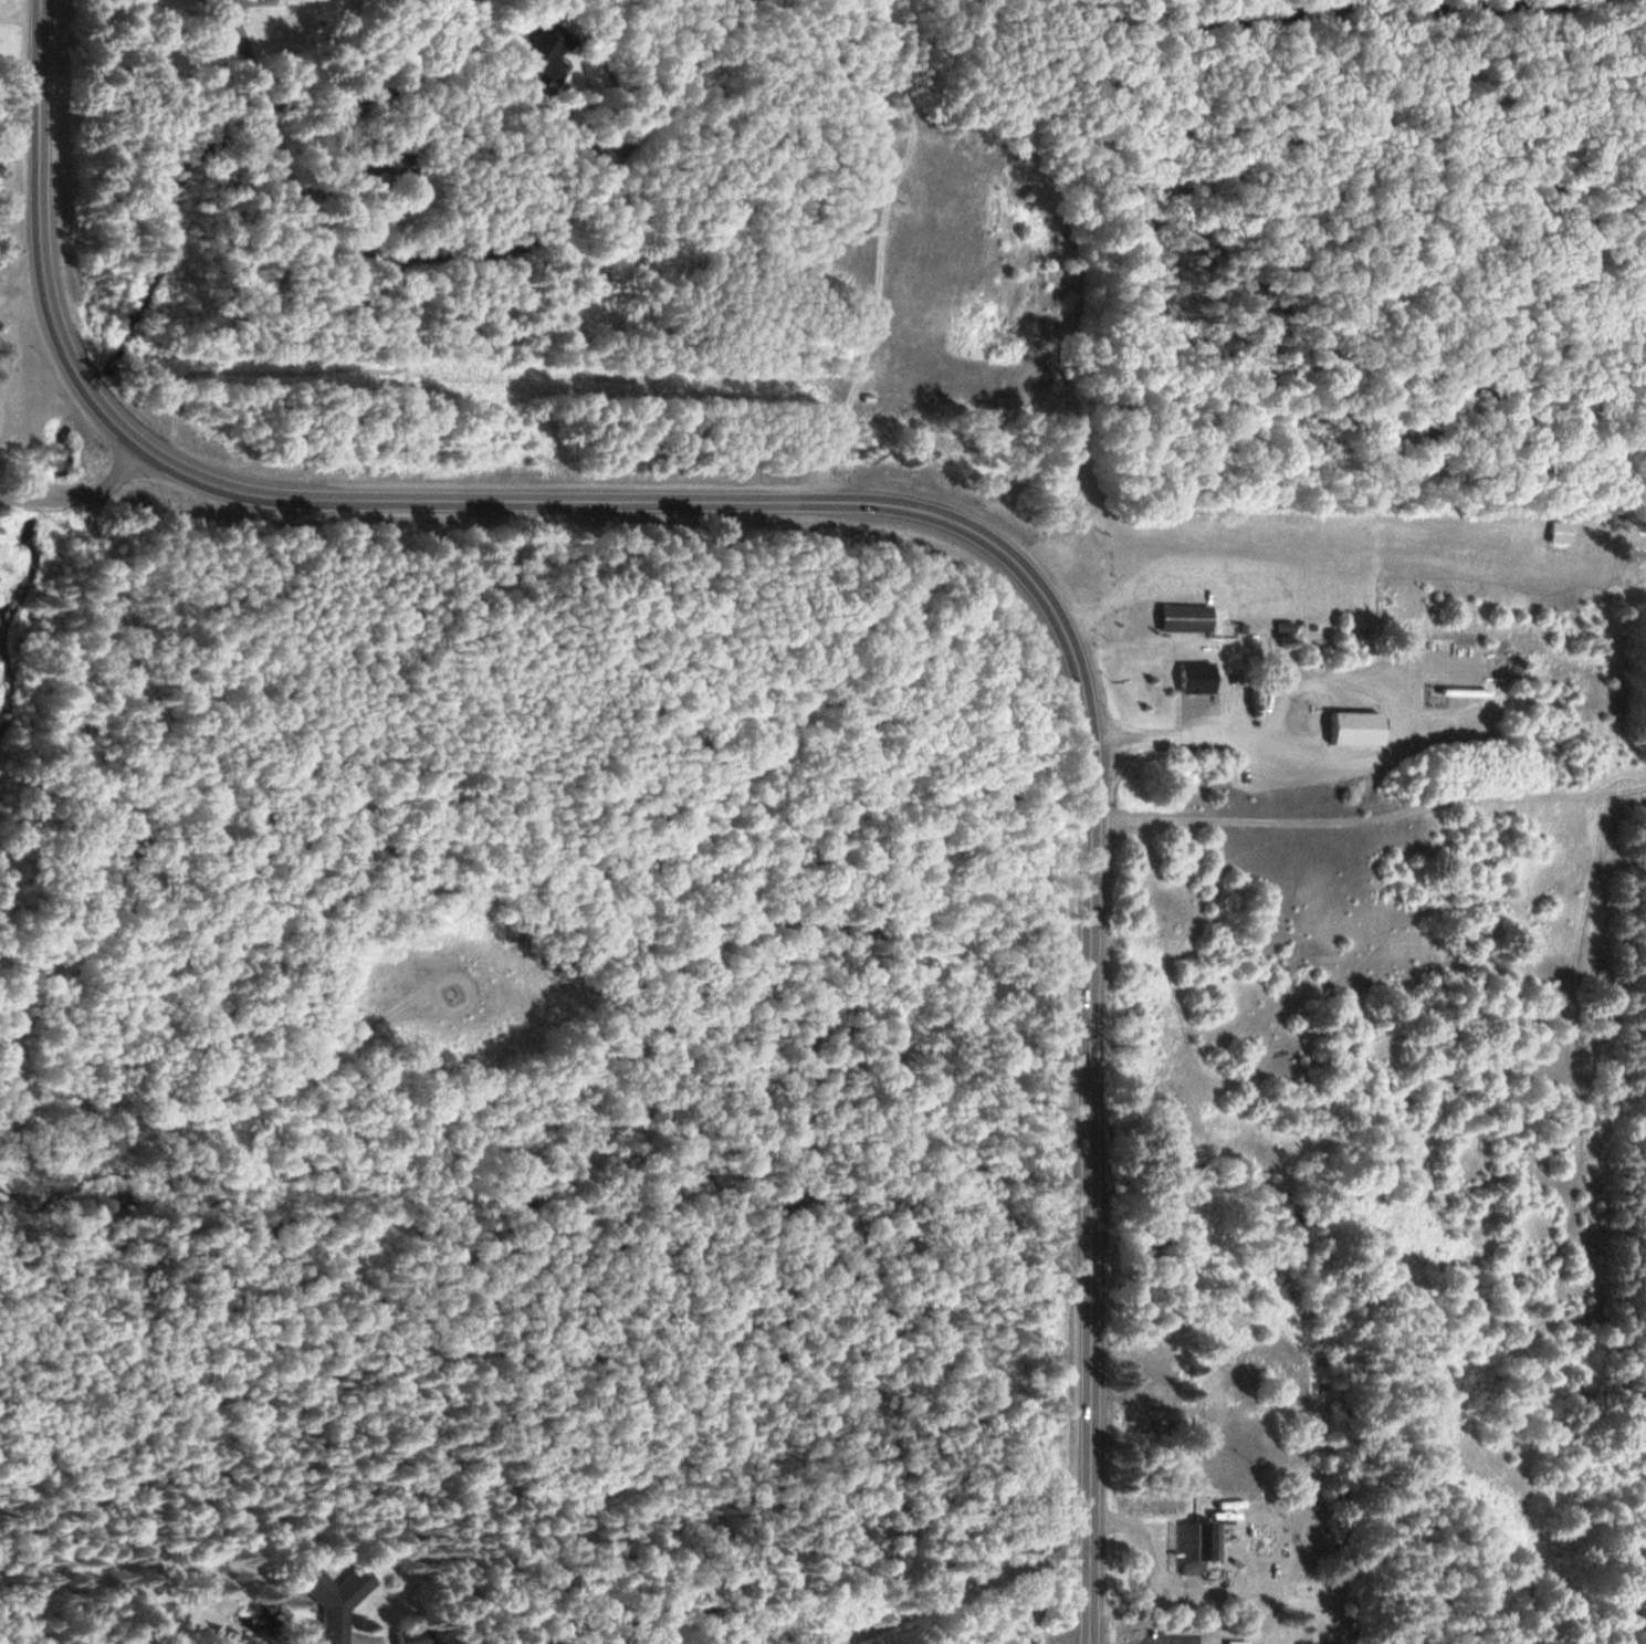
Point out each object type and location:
road: (255, 3)
road: (1301, 10)
road: (249, 48)
building: (542, 53)
road: (263, 111)
building: (386, 159)
road: (522, 242)
road: (82, 498)
road: (891, 506)
building: (1562, 534)
building: (1182, 619)
building: (1282, 628)
building: (1195, 679)
building: (1351, 730)
road: (137, 785)
building: (1191, 1549)
building: (334, 1601)
road: (359, 1626)
building: (1311, 1631)
building: (413, 1636)
building: (1235, 1643)

